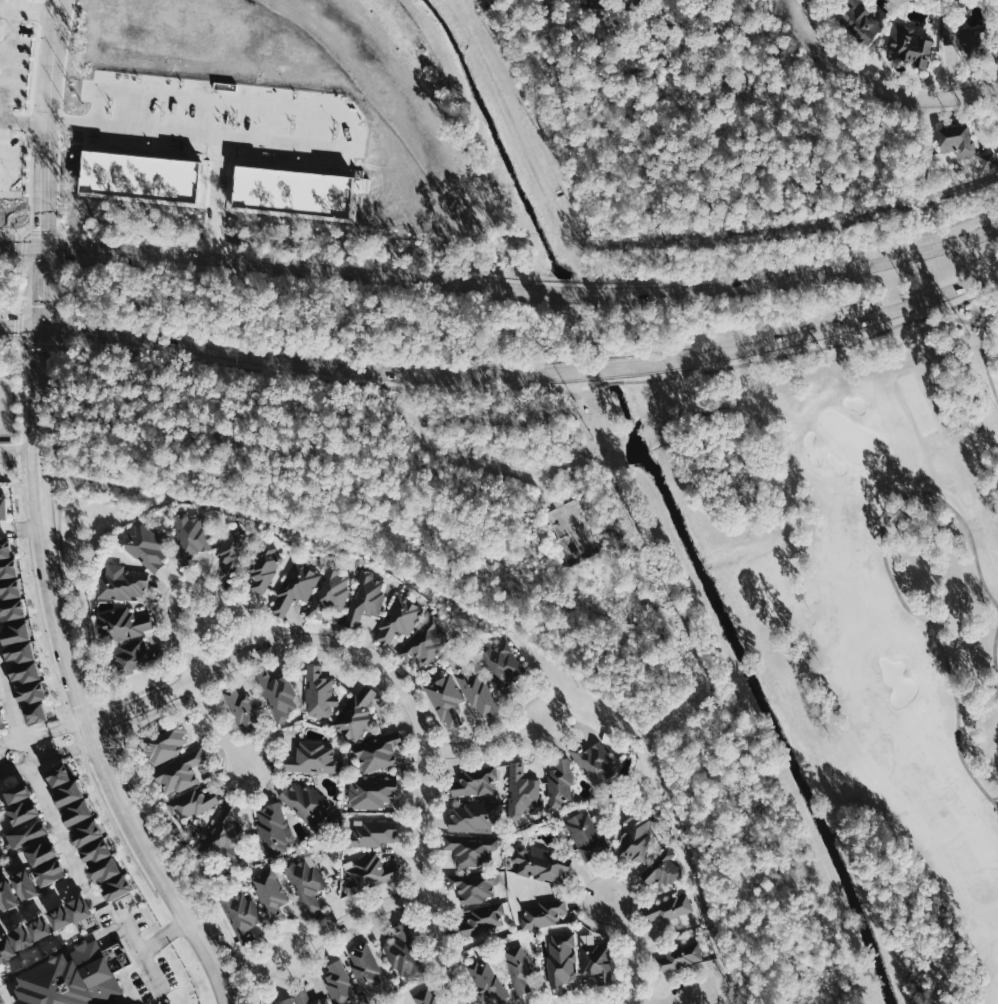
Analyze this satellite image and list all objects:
road: (9, 7)
road: (39, 11)
building: (861, 21)
building: (959, 34)
building: (913, 46)
road: (6, 47)
road: (11, 59)
parking lot: (12, 60)
road: (904, 68)
road: (4, 83)
road: (875, 86)
road: (21, 120)
road: (43, 121)
building: (963, 144)
road: (739, 146)
road: (3, 152)
road: (11, 233)
road: (46, 233)
traffic signals: (45, 245)
road: (26, 284)
road: (501, 285)
road: (61, 291)
road: (963, 321)
traffic signals: (44, 329)
road: (8, 343)
road: (35, 343)
road: (983, 354)
road: (504, 373)
road: (537, 389)
road: (23, 391)
park: (848, 435)
road: (18, 454)
road: (487, 465)
building: (1, 501)
road: (20, 528)
building: (184, 535)
building: (141, 544)
building: (5, 548)
building: (229, 548)
building: (8, 567)
building: (262, 568)
road: (891, 576)
building: (121, 581)
road: (183, 586)
building: (10, 587)
building: (293, 587)
building: (331, 587)
building: (364, 595)
building: (11, 608)
building: (396, 618)
building: (123, 620)
building: (16, 631)
road: (62, 641)
building: (423, 641)
park: (880, 644)
road: (994, 651)
building: (20, 652)
building: (129, 656)
building: (500, 664)
building: (26, 672)
road: (57, 677)
road: (148, 687)
building: (318, 689)
building: (31, 691)
road: (95, 691)
building: (478, 692)
building: (274, 694)
road: (405, 698)
building: (445, 698)
building: (238, 707)
building: (36, 710)
road: (155, 710)
building: (355, 710)
road: (105, 718)
building: (2, 720)
building: (0, 726)
road: (217, 727)
road: (42, 733)
building: (164, 740)
road: (487, 741)
building: (371, 752)
road: (49, 755)
building: (308, 756)
building: (592, 764)
building: (60, 773)
building: (174, 774)
building: (474, 780)
building: (560, 783)
building: (16, 789)
building: (69, 791)
building: (369, 792)
building: (522, 792)
building: (303, 800)
building: (188, 804)
building: (23, 809)
building: (77, 810)
building: (472, 816)
road: (54, 817)
building: (272, 827)
building: (88, 830)
building: (369, 830)
building: (226, 832)
building: (25, 834)
building: (586, 834)
building: (635, 835)
building: (470, 848)
building: (97, 849)
building: (41, 850)
building: (541, 864)
building: (663, 866)
building: (105, 868)
building: (48, 871)
building: (366, 871)
building: (303, 878)
building: (26, 883)
building: (474, 884)
building: (116, 886)
building: (267, 887)
building: (8, 894)
building: (668, 907)
building: (80, 908)
building: (238, 910)
building: (543, 913)
building: (62, 916)
road: (350, 917)
building: (483, 918)
building: (40, 927)
road: (164, 935)
building: (22, 938)
road: (628, 946)
building: (6, 949)
road: (141, 949)
building: (398, 951)
building: (678, 956)
building: (562, 958)
building: (596, 960)
building: (362, 964)
building: (517, 968)
building: (487, 979)
building: (336, 980)
building: (68, 982)
building: (425, 996)
building: (299, 998)
building: (280, 1001)
building: (398, 1003)
road: (685, 1003)

